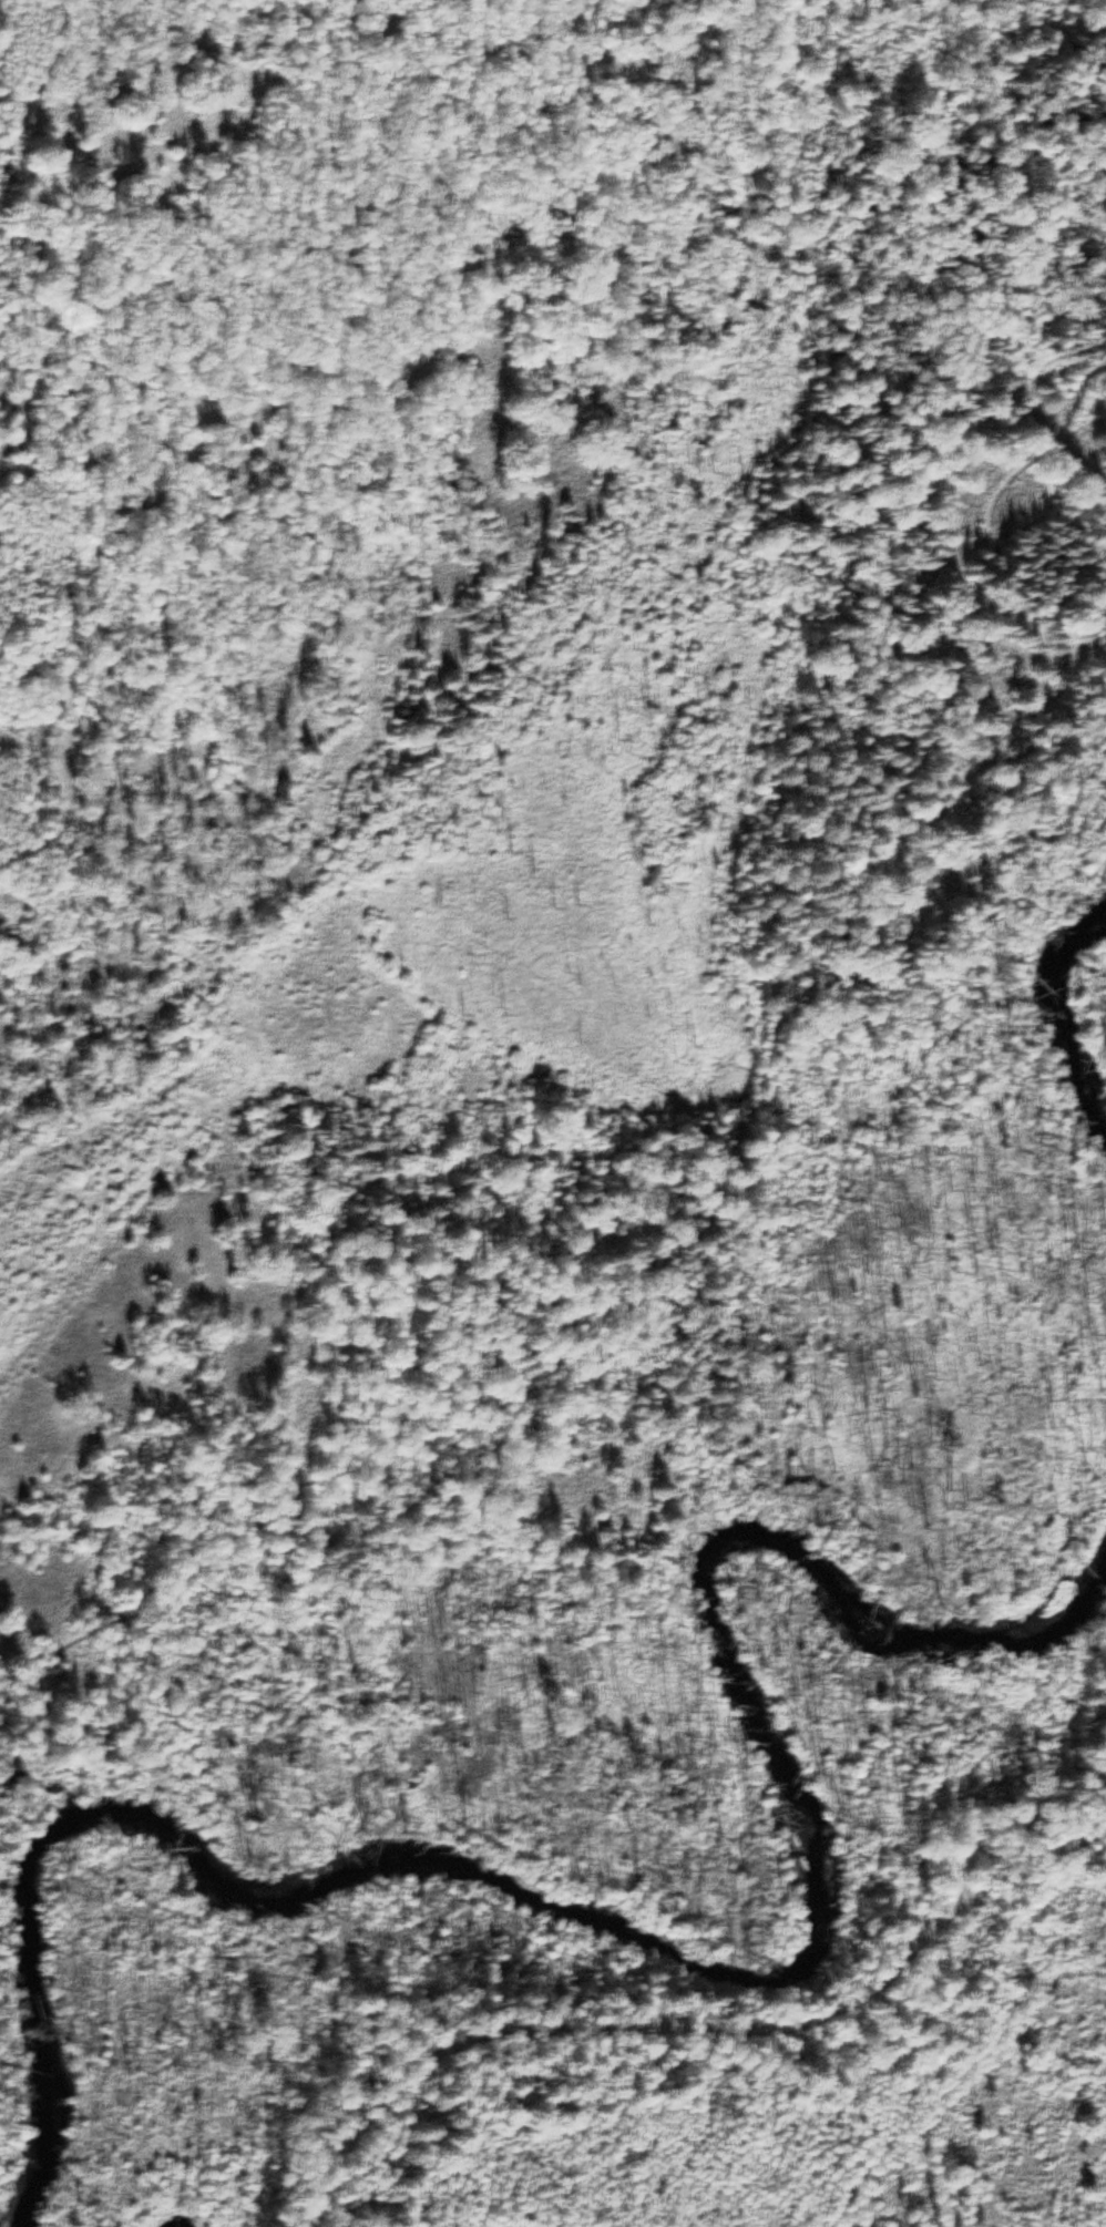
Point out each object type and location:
river: (1068, 1000)
park: (576, 1132)
road: (718, 1142)
river: (684, 1973)
road: (688, 2024)

